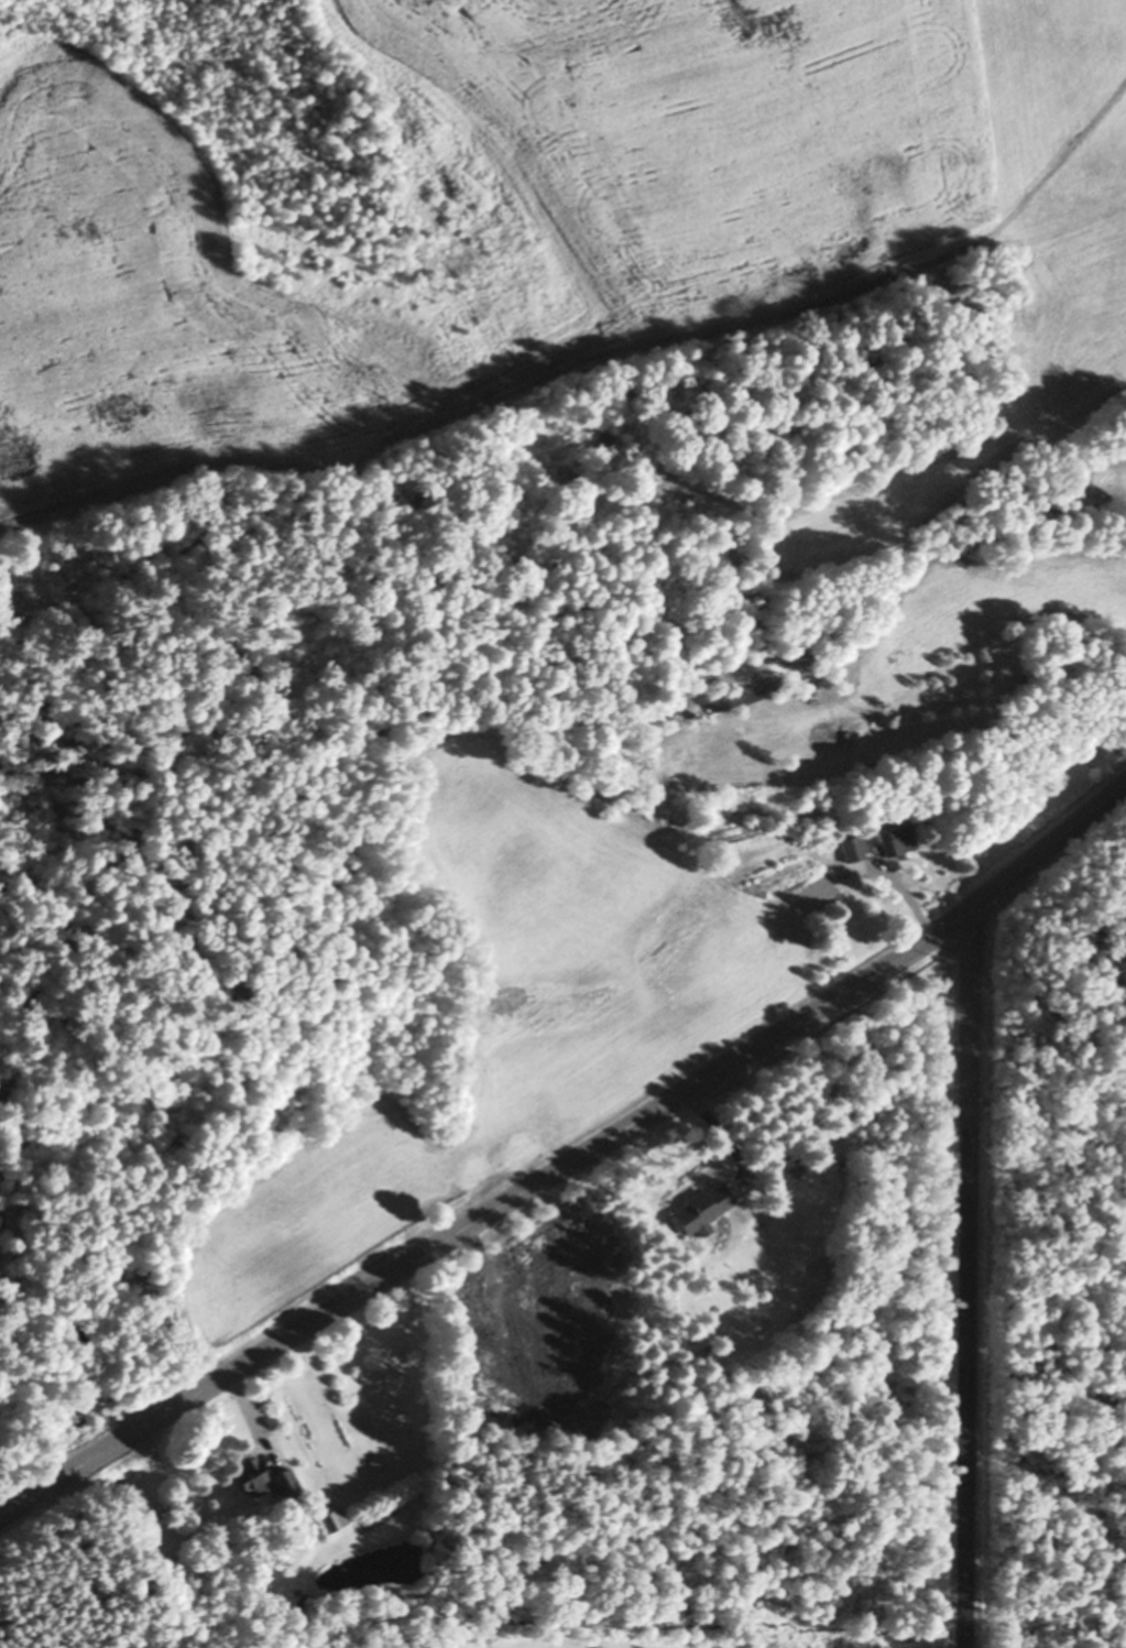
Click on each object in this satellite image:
building: (897, 839)
building: (854, 849)
road: (895, 877)
road: (572, 1152)
building: (794, 1160)
building: (703, 1205)
road: (969, 1274)
building: (251, 1472)
building: (286, 1481)
building: (332, 1518)
road: (85, 1560)

